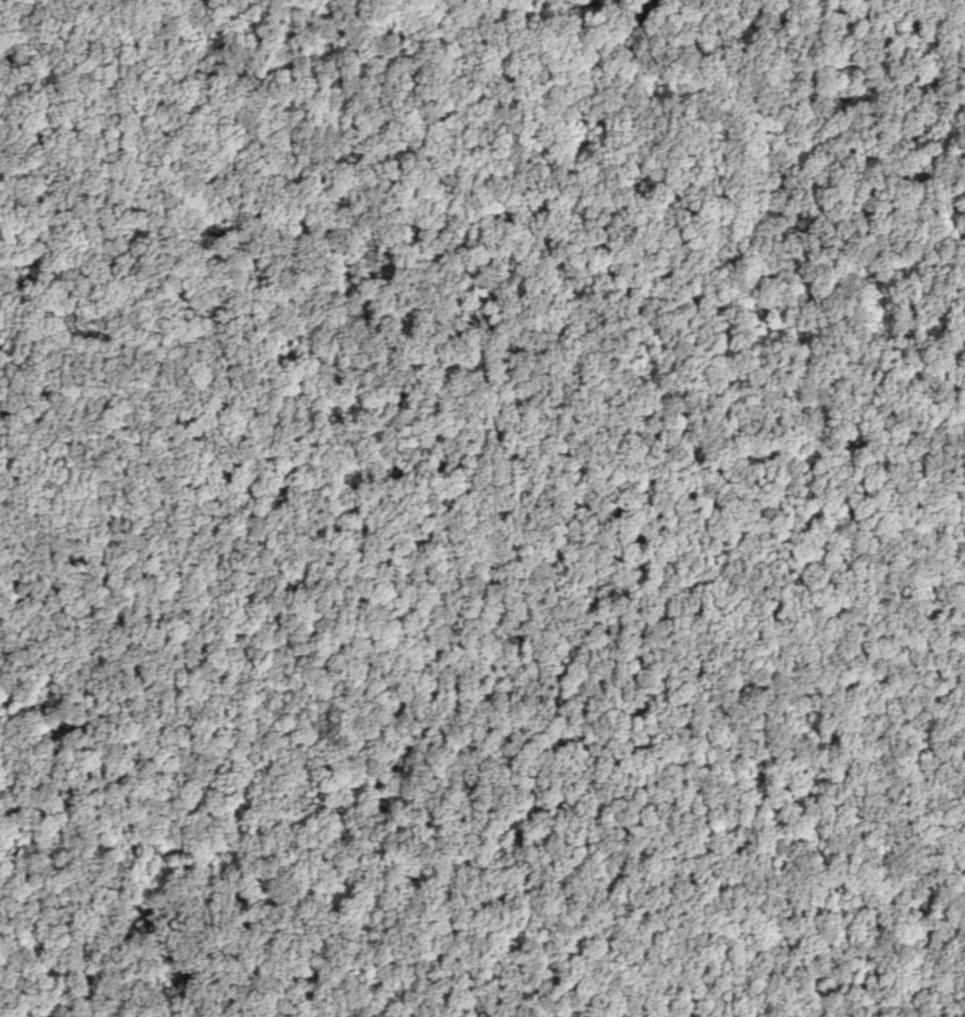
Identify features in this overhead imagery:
park: (462, 488)
road: (534, 508)
road: (929, 798)

